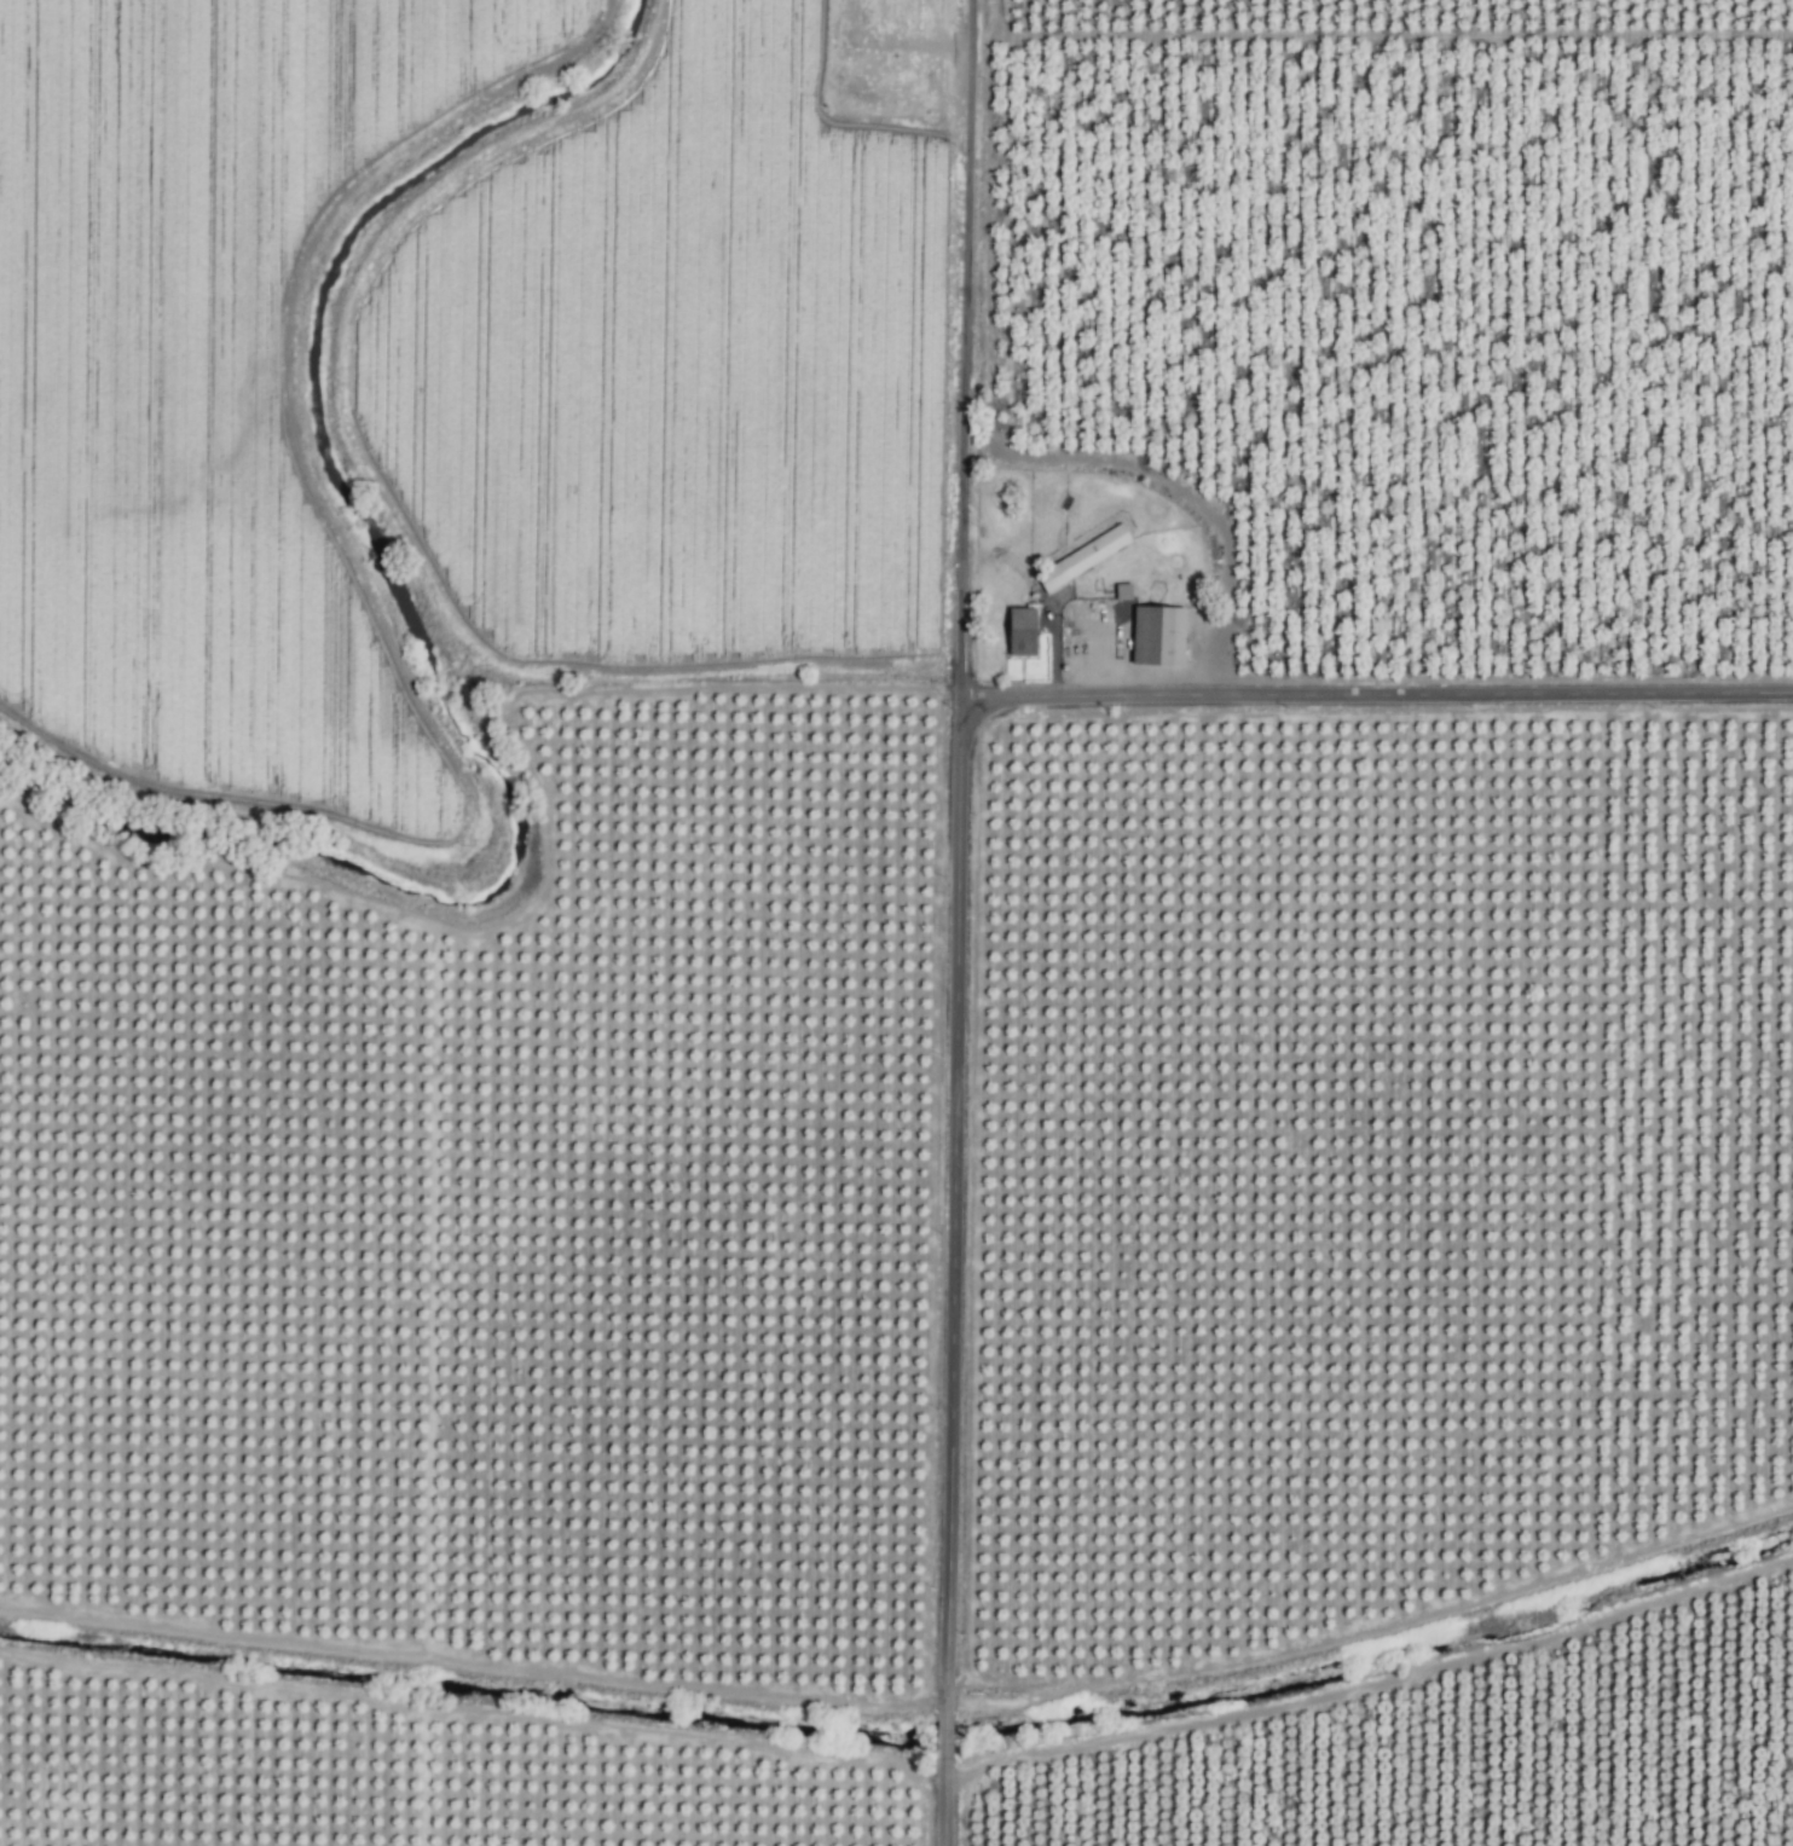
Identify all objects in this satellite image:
building: (1086, 560)
building: (1025, 632)
building: (1164, 637)
road: (1377, 699)
road: (958, 853)
road: (943, 1738)
road: (942, 1806)

